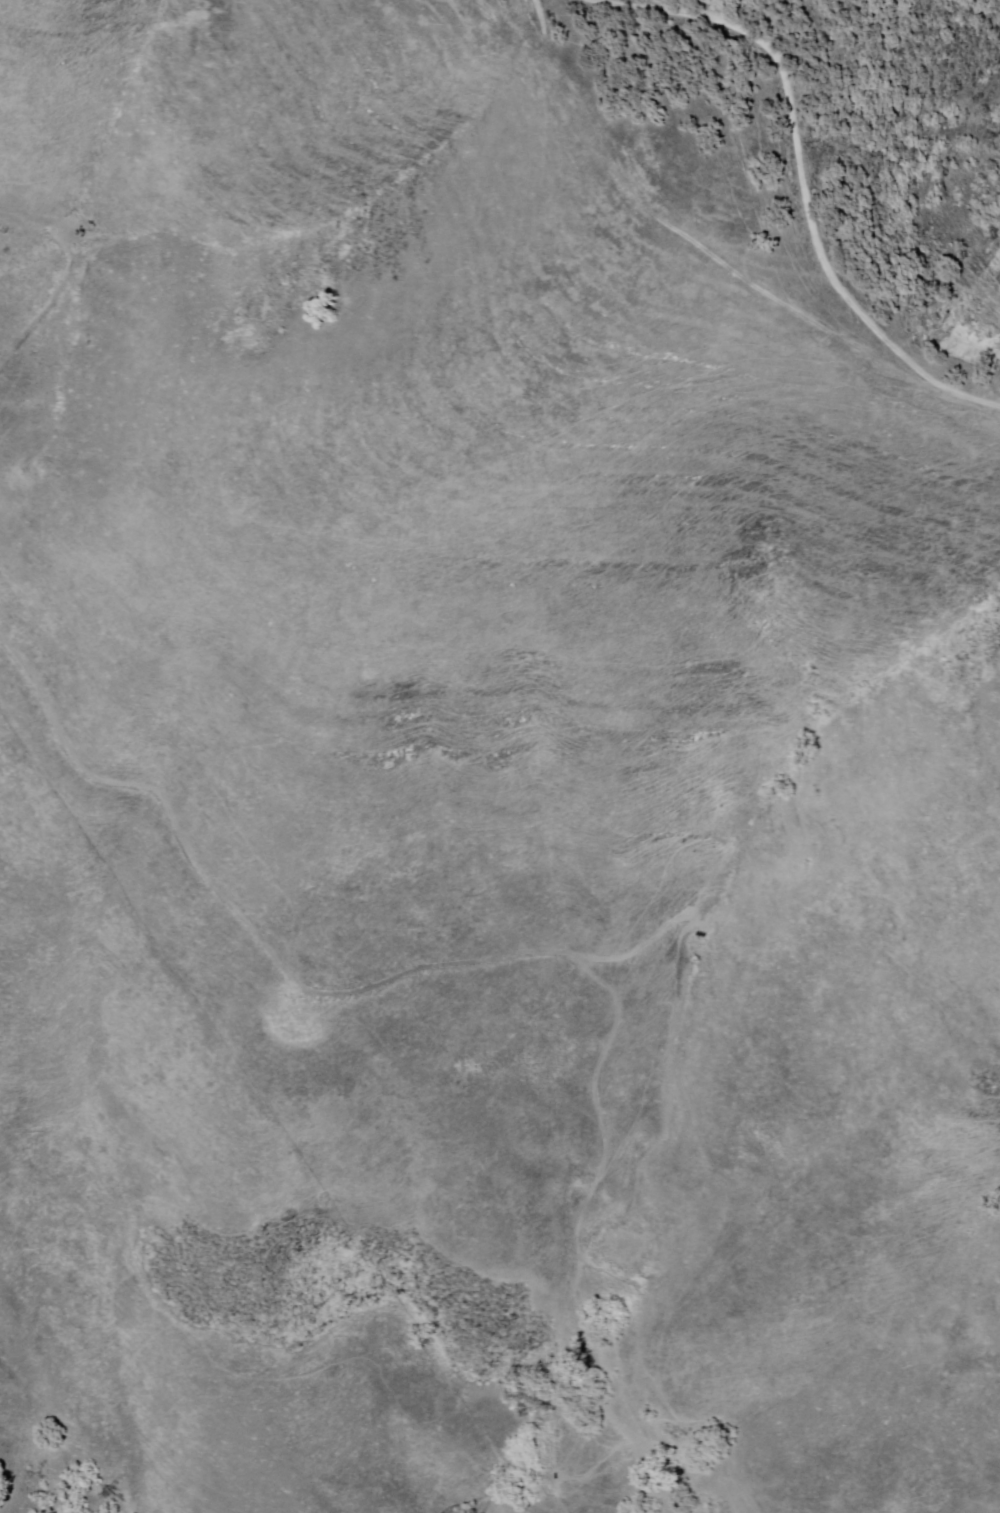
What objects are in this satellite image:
road: (809, 198)

